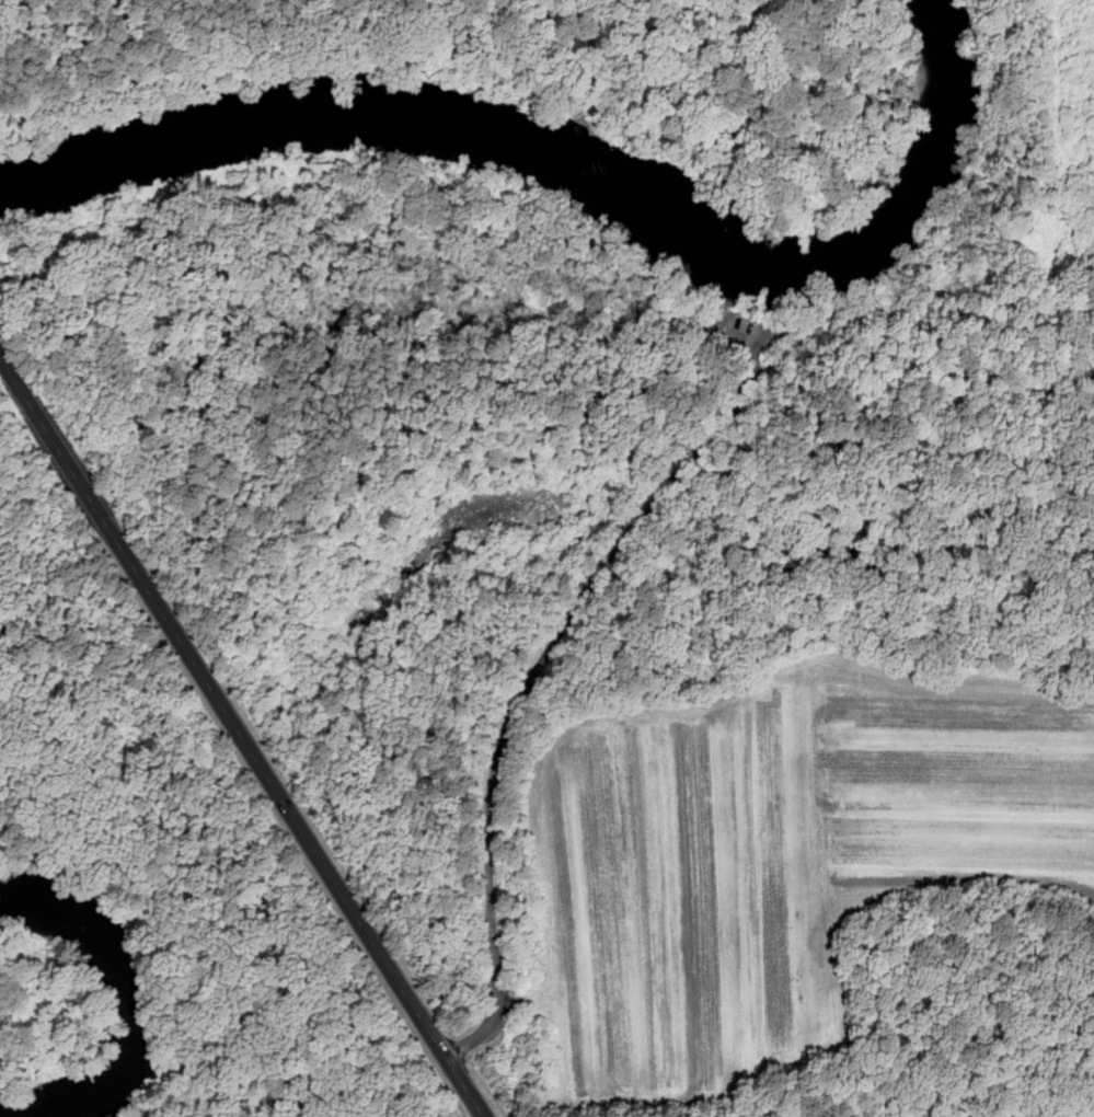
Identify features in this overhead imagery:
river: (571, 181)
road: (1033, 206)
road: (553, 643)
road: (223, 705)
road: (465, 1087)
road: (1056, 1098)

